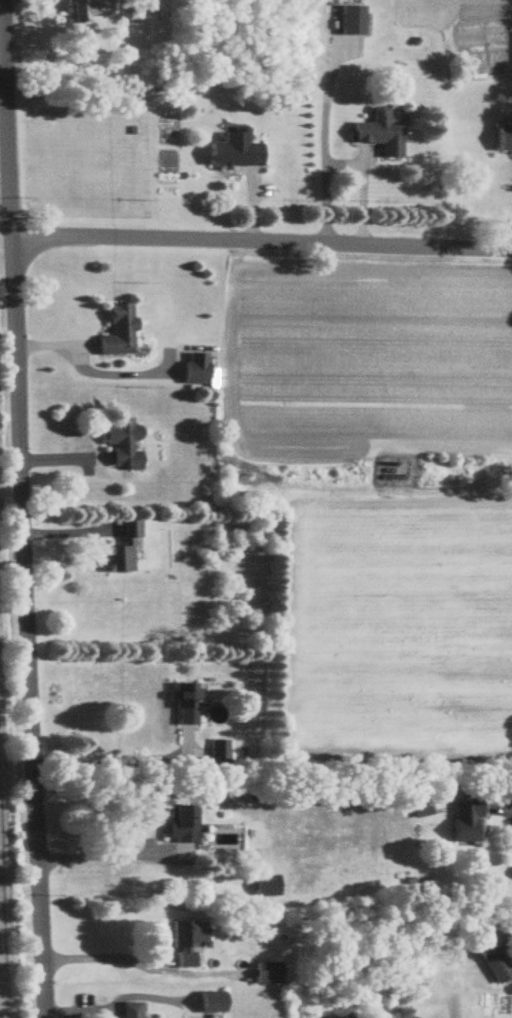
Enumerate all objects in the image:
building: (89, 8)
building: (350, 20)
crop: (3, 101)
building: (376, 134)
building: (502, 139)
building: (233, 150)
road: (325, 152)
road: (361, 189)
road: (6, 238)
road: (261, 245)
building: (114, 331)
road: (77, 359)
building: (193, 373)
building: (120, 444)
road: (21, 509)
building: (122, 549)
building: (182, 704)
building: (217, 755)
road: (113, 761)
building: (418, 807)
road: (508, 812)
building: (462, 822)
building: (178, 824)
road: (108, 855)
building: (263, 887)
building: (185, 944)
building: (490, 956)
road: (101, 958)
building: (265, 974)
building: (208, 1002)
building: (127, 1010)

